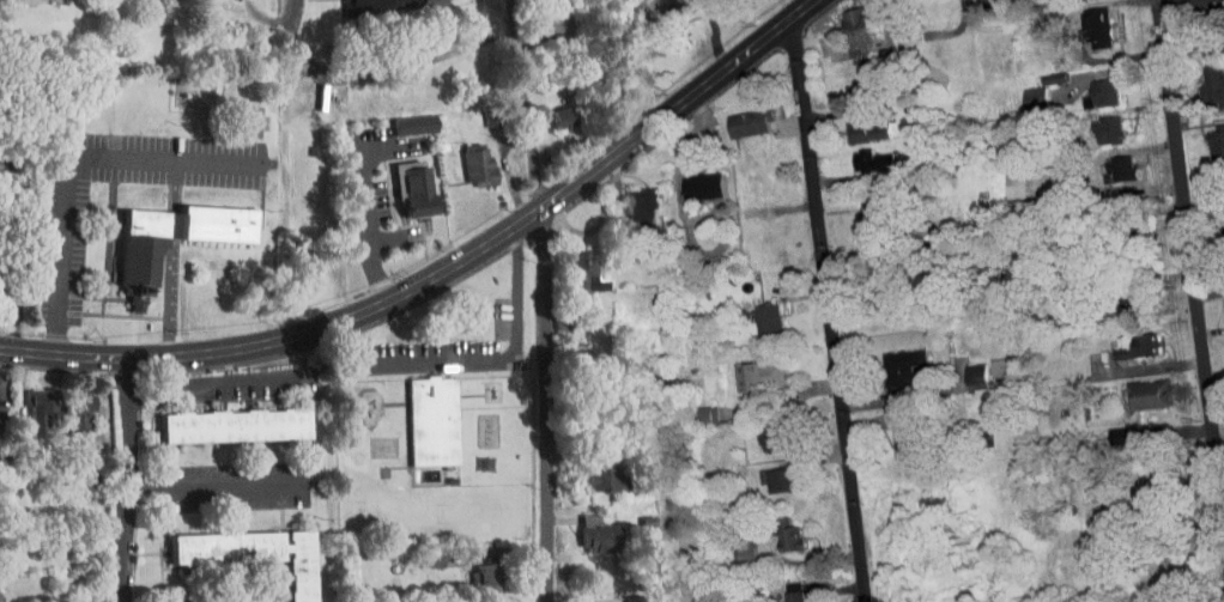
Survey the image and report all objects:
building: (395, 0)
building: (350, 1)
building: (642, 5)
building: (541, 13)
building: (1083, 22)
building: (842, 24)
road: (297, 25)
road: (486, 36)
building: (1220, 36)
building: (1199, 77)
building: (1087, 87)
building: (1019, 91)
building: (547, 110)
building: (234, 115)
building: (735, 116)
building: (399, 118)
building: (1093, 123)
building: (852, 124)
building: (1206, 134)
building: (856, 154)
building: (462, 157)
road: (73, 163)
building: (1105, 163)
building: (999, 178)
building: (396, 180)
building: (687, 180)
building: (629, 201)
building: (855, 202)
road: (370, 231)
building: (569, 264)
building: (120, 266)
road: (1194, 273)
road: (441, 274)
building: (1217, 303)
building: (752, 310)
road: (823, 310)
building: (1123, 338)
building: (1218, 338)
building: (886, 358)
building: (984, 359)
road: (477, 360)
building: (746, 366)
building: (962, 367)
building: (1134, 385)
building: (62, 403)
building: (25, 405)
road: (547, 405)
building: (692, 408)
building: (418, 413)
building: (218, 418)
building: (757, 431)
building: (887, 431)
building: (592, 472)
building: (765, 472)
road: (122, 480)
road: (208, 487)
building: (582, 525)
building: (772, 527)
building: (417, 551)
building: (472, 568)
building: (285, 574)
building: (780, 589)
building: (619, 595)
building: (582, 601)

